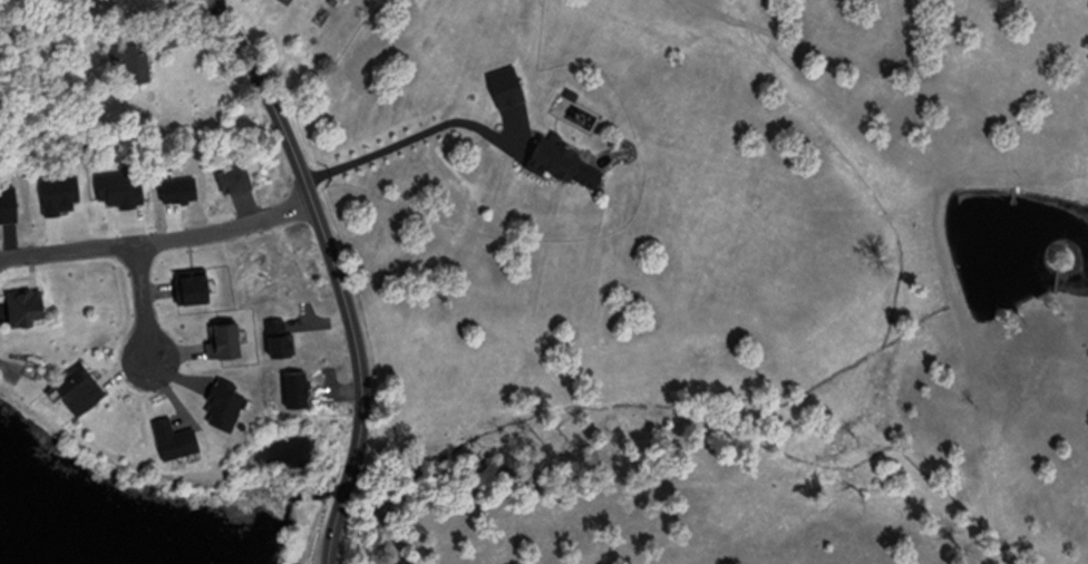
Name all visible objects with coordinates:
building: (111, 0)
building: (290, 1)
building: (142, 67)
building: (512, 94)
road: (411, 139)
building: (562, 158)
building: (240, 179)
road: (159, 241)
road: (339, 272)
road: (147, 305)
building: (29, 308)
building: (84, 388)

